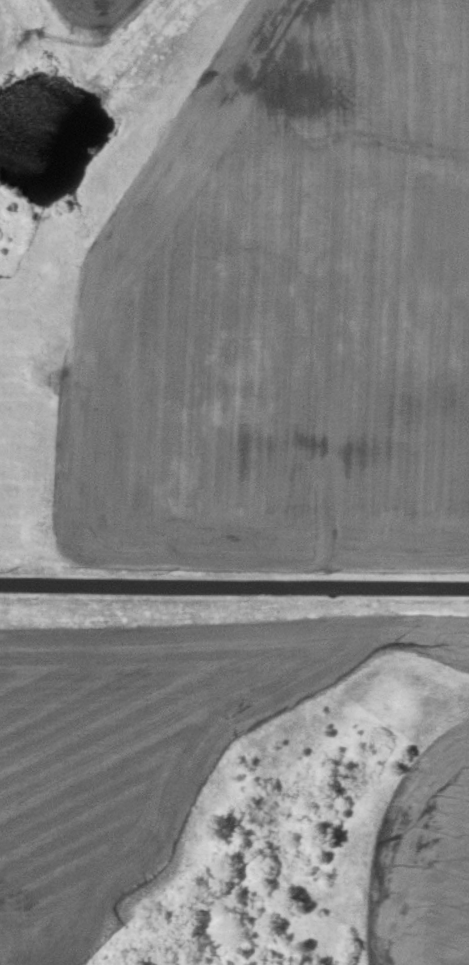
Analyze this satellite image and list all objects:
crop: (234, 293)
road: (234, 587)
crop: (230, 764)
crop: (139, 964)

